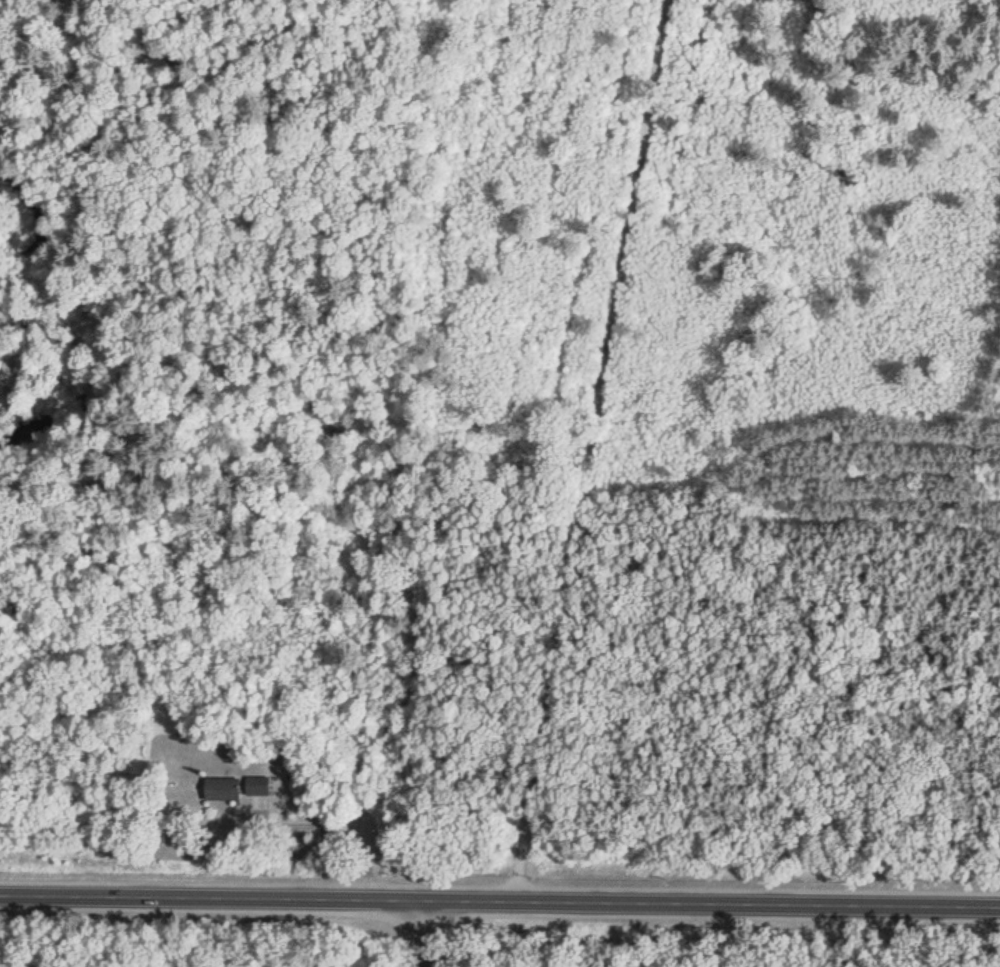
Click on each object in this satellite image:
road: (577, 450)
building: (259, 786)
building: (224, 789)
road: (500, 899)
road: (424, 933)

